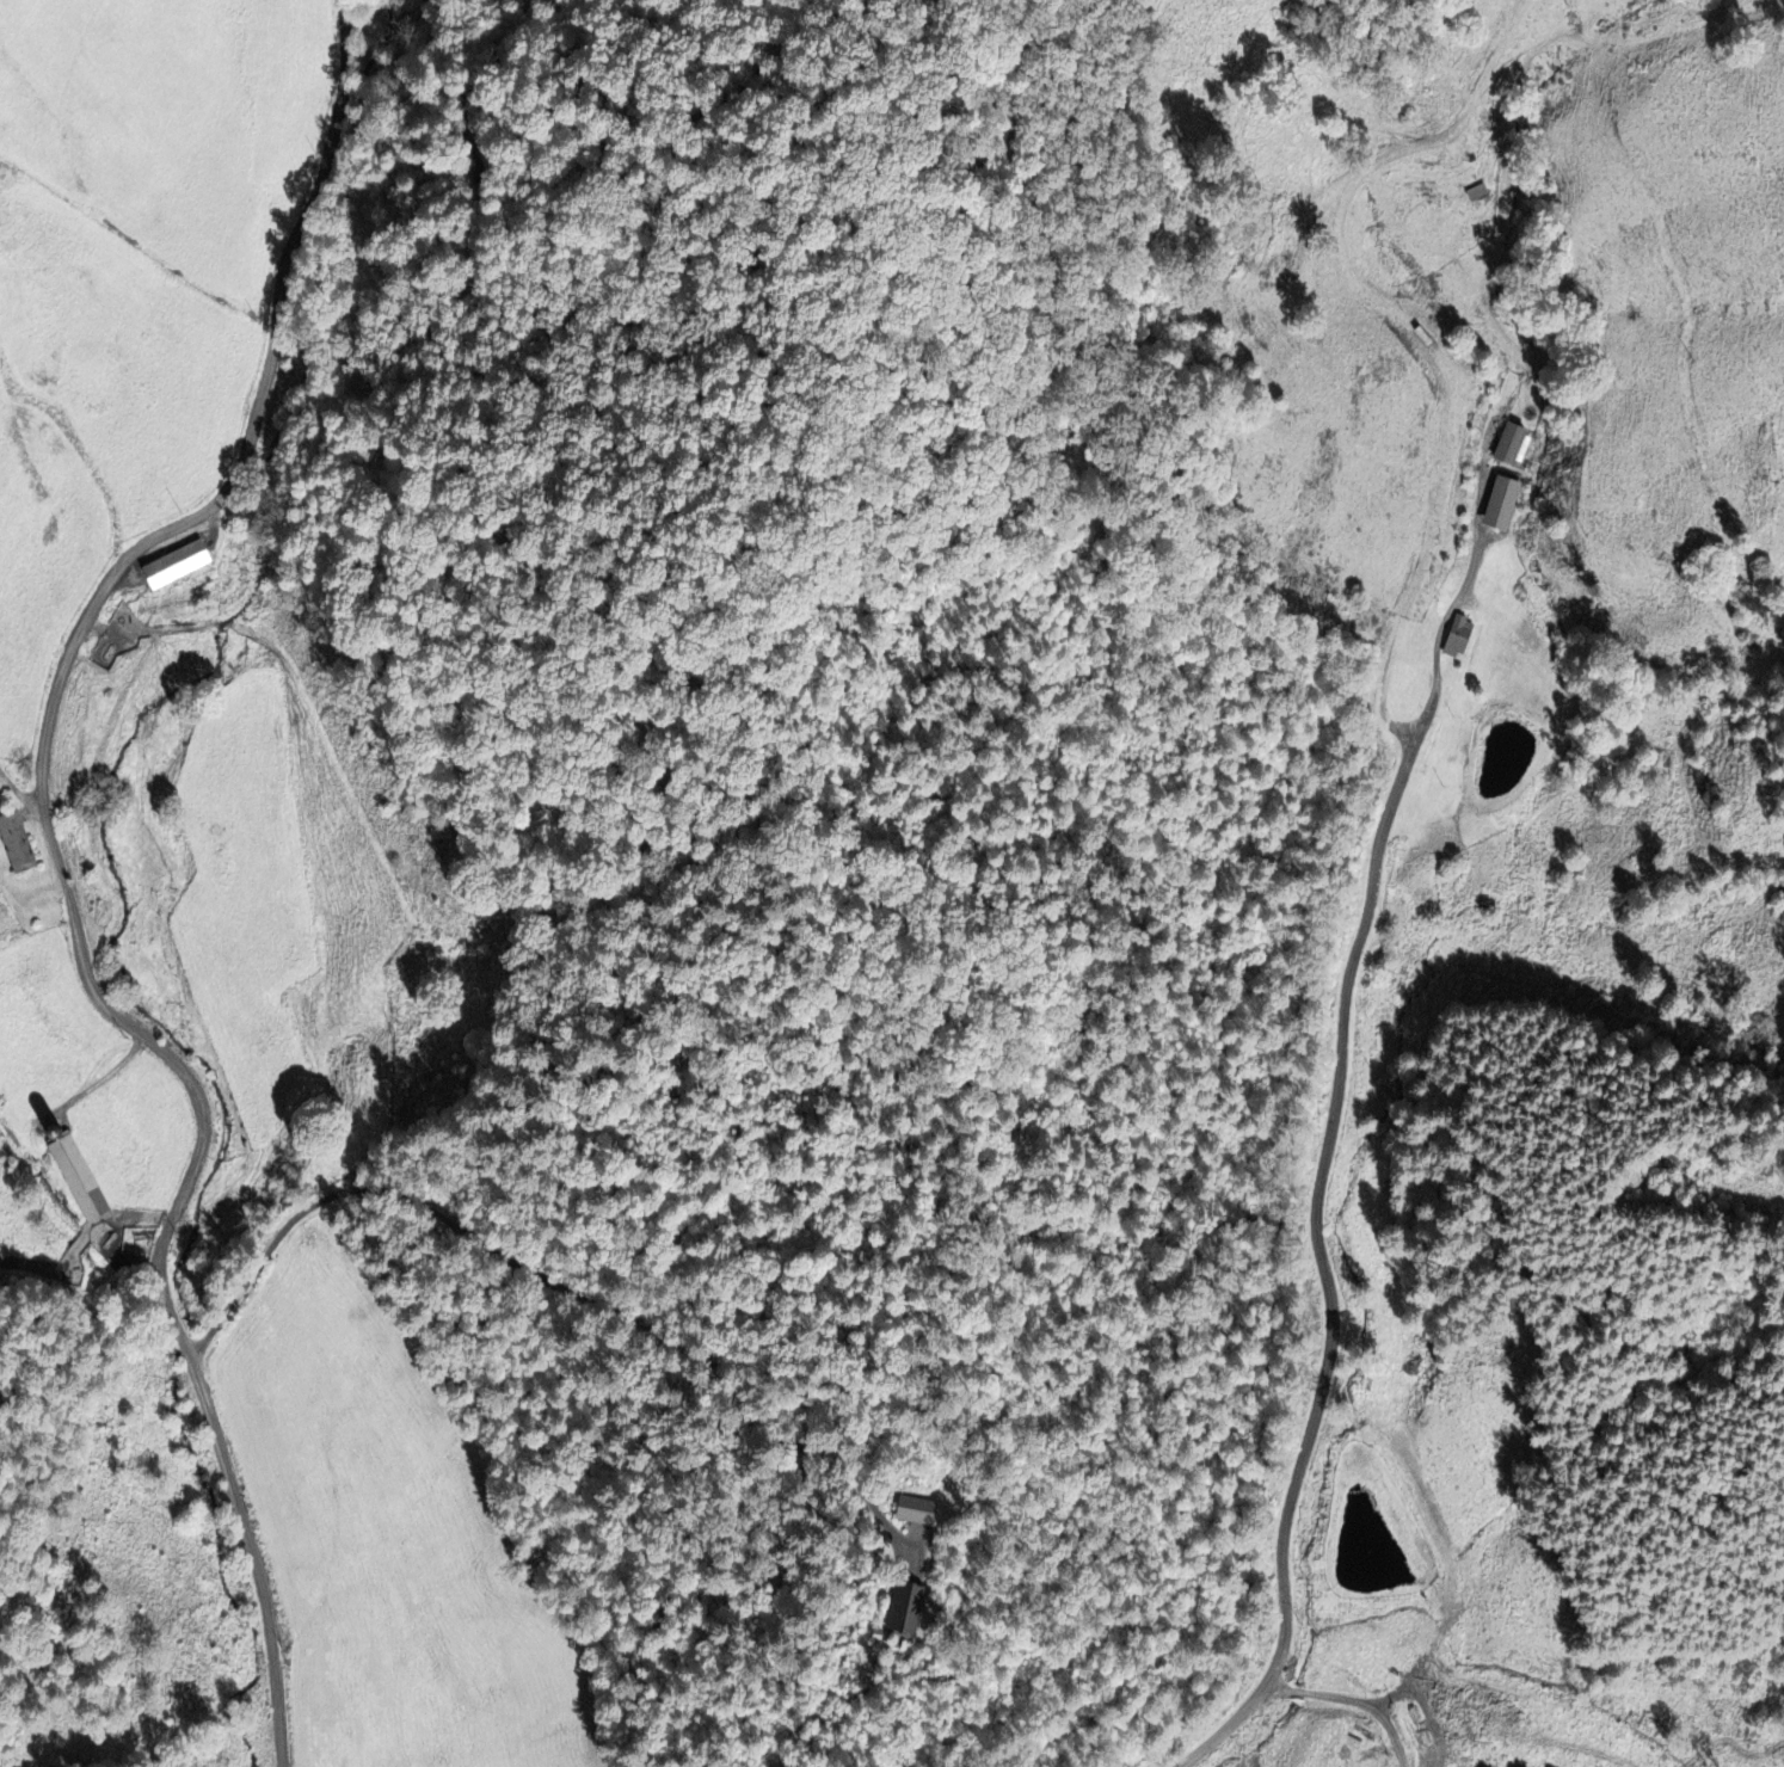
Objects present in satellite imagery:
building: (1512, 445)
building: (1500, 503)
building: (173, 565)
road: (1463, 589)
building: (1457, 636)
road: (19, 792)
building: (14, 843)
road: (64, 874)
building: (76, 1178)
road: (1322, 1268)
building: (913, 1510)
building: (904, 1608)
road: (1354, 1699)

